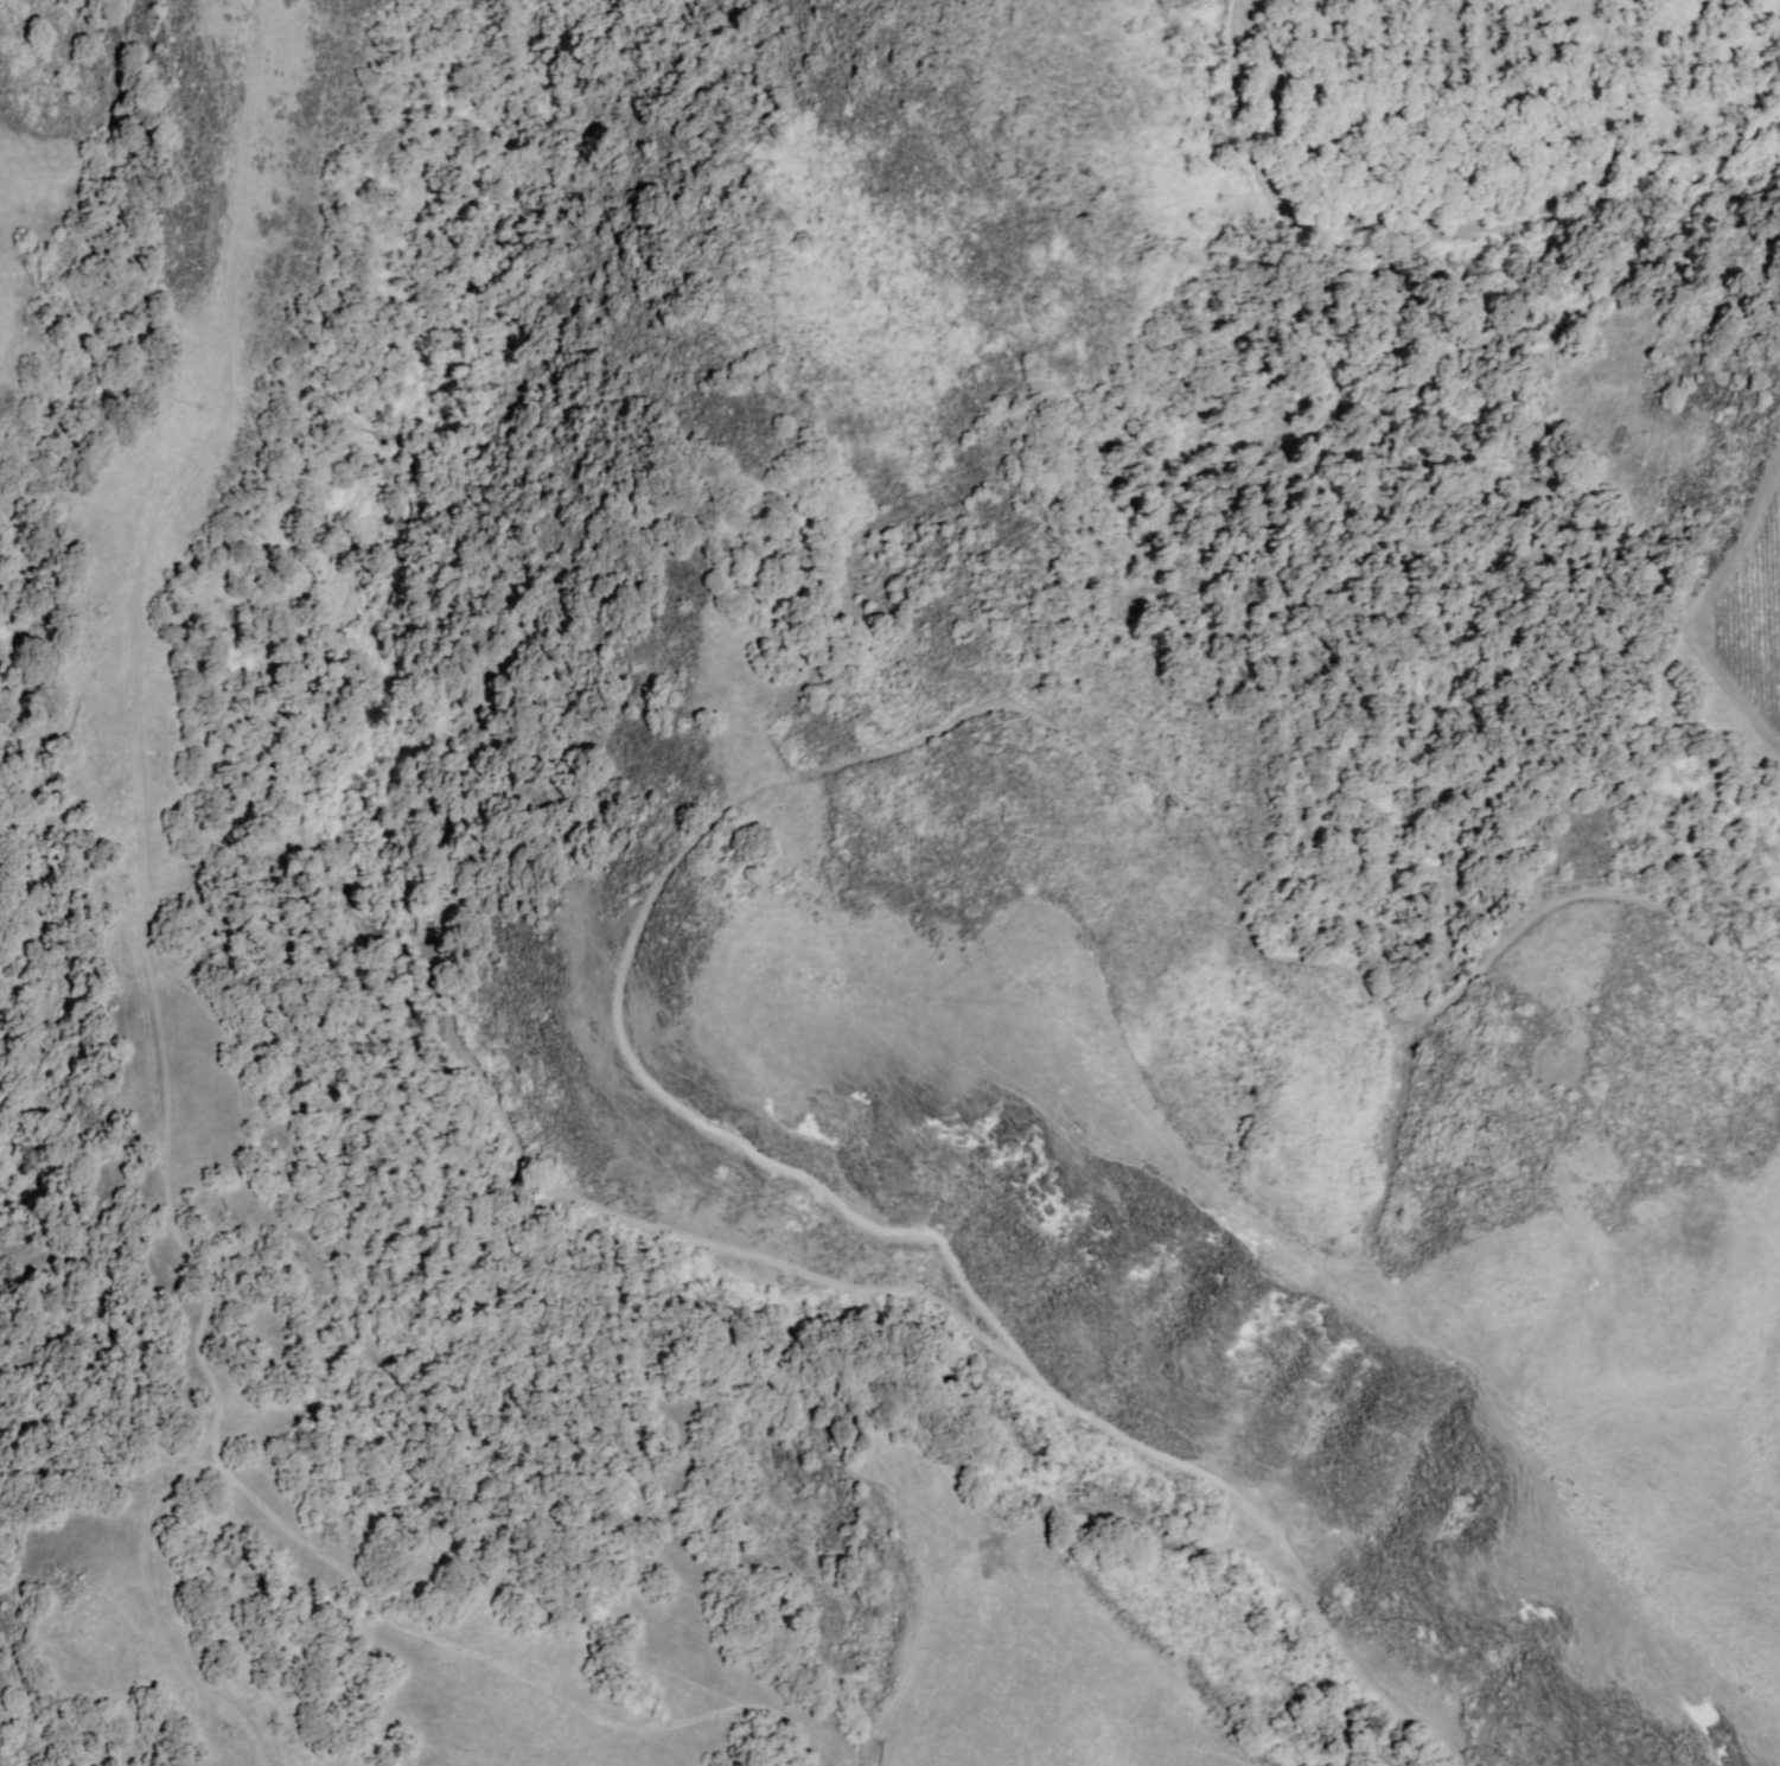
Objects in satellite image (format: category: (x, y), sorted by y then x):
crop: (1519, 89)
crop: (1755, 619)

